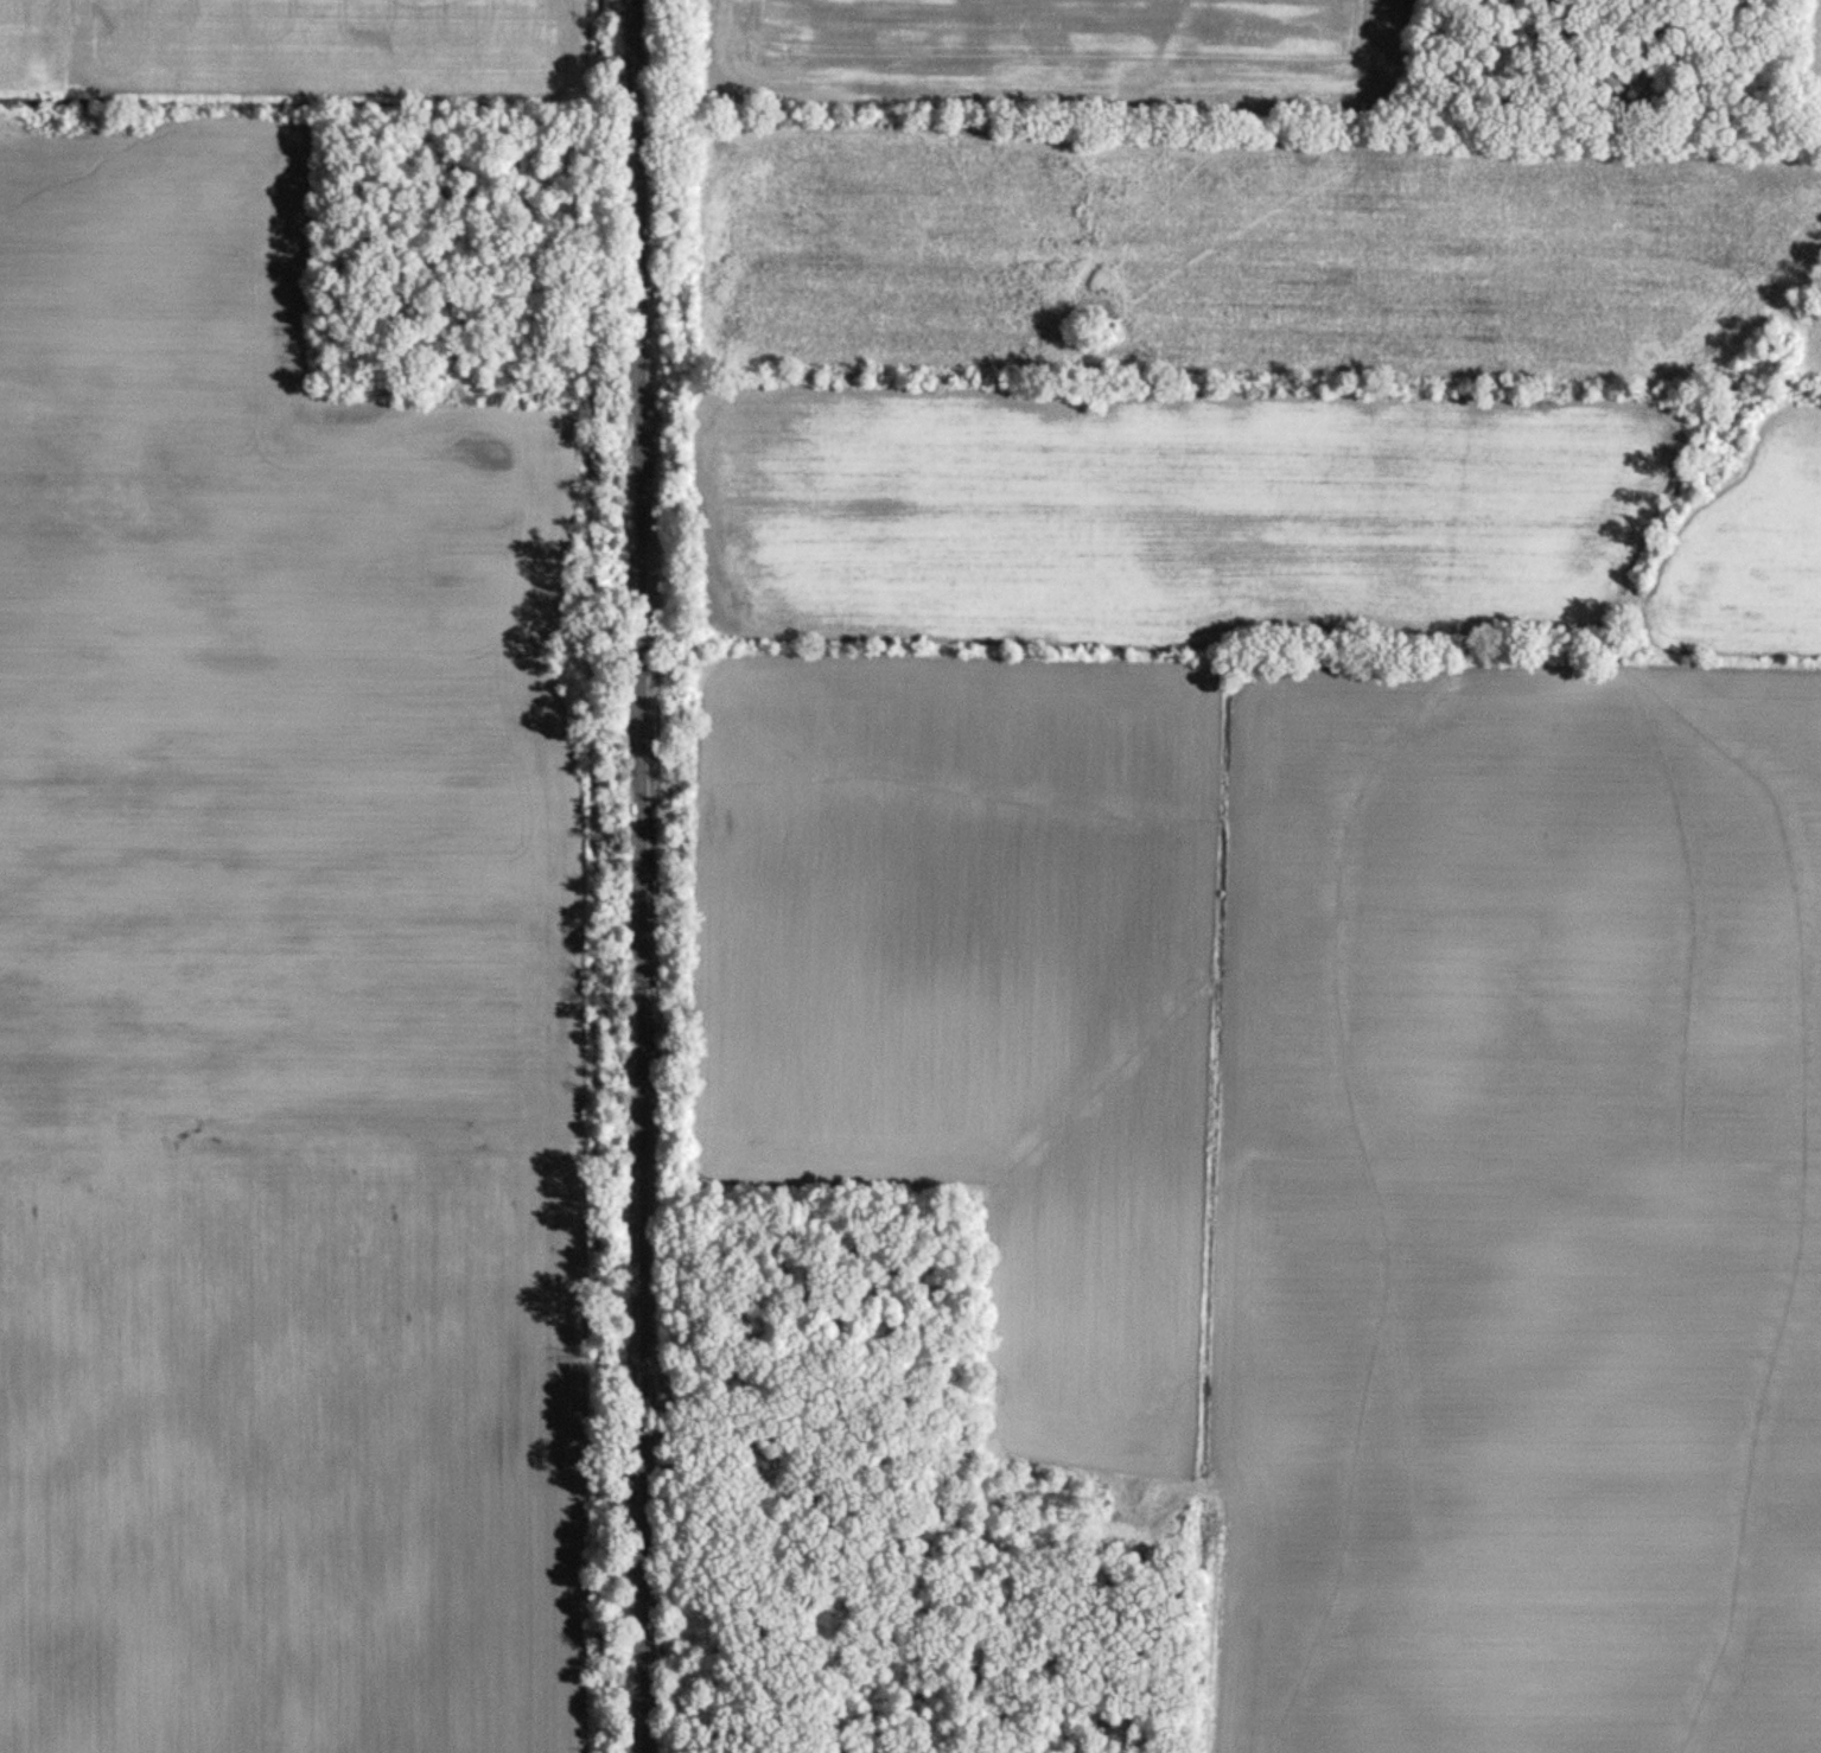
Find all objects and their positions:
railway: (631, 876)

